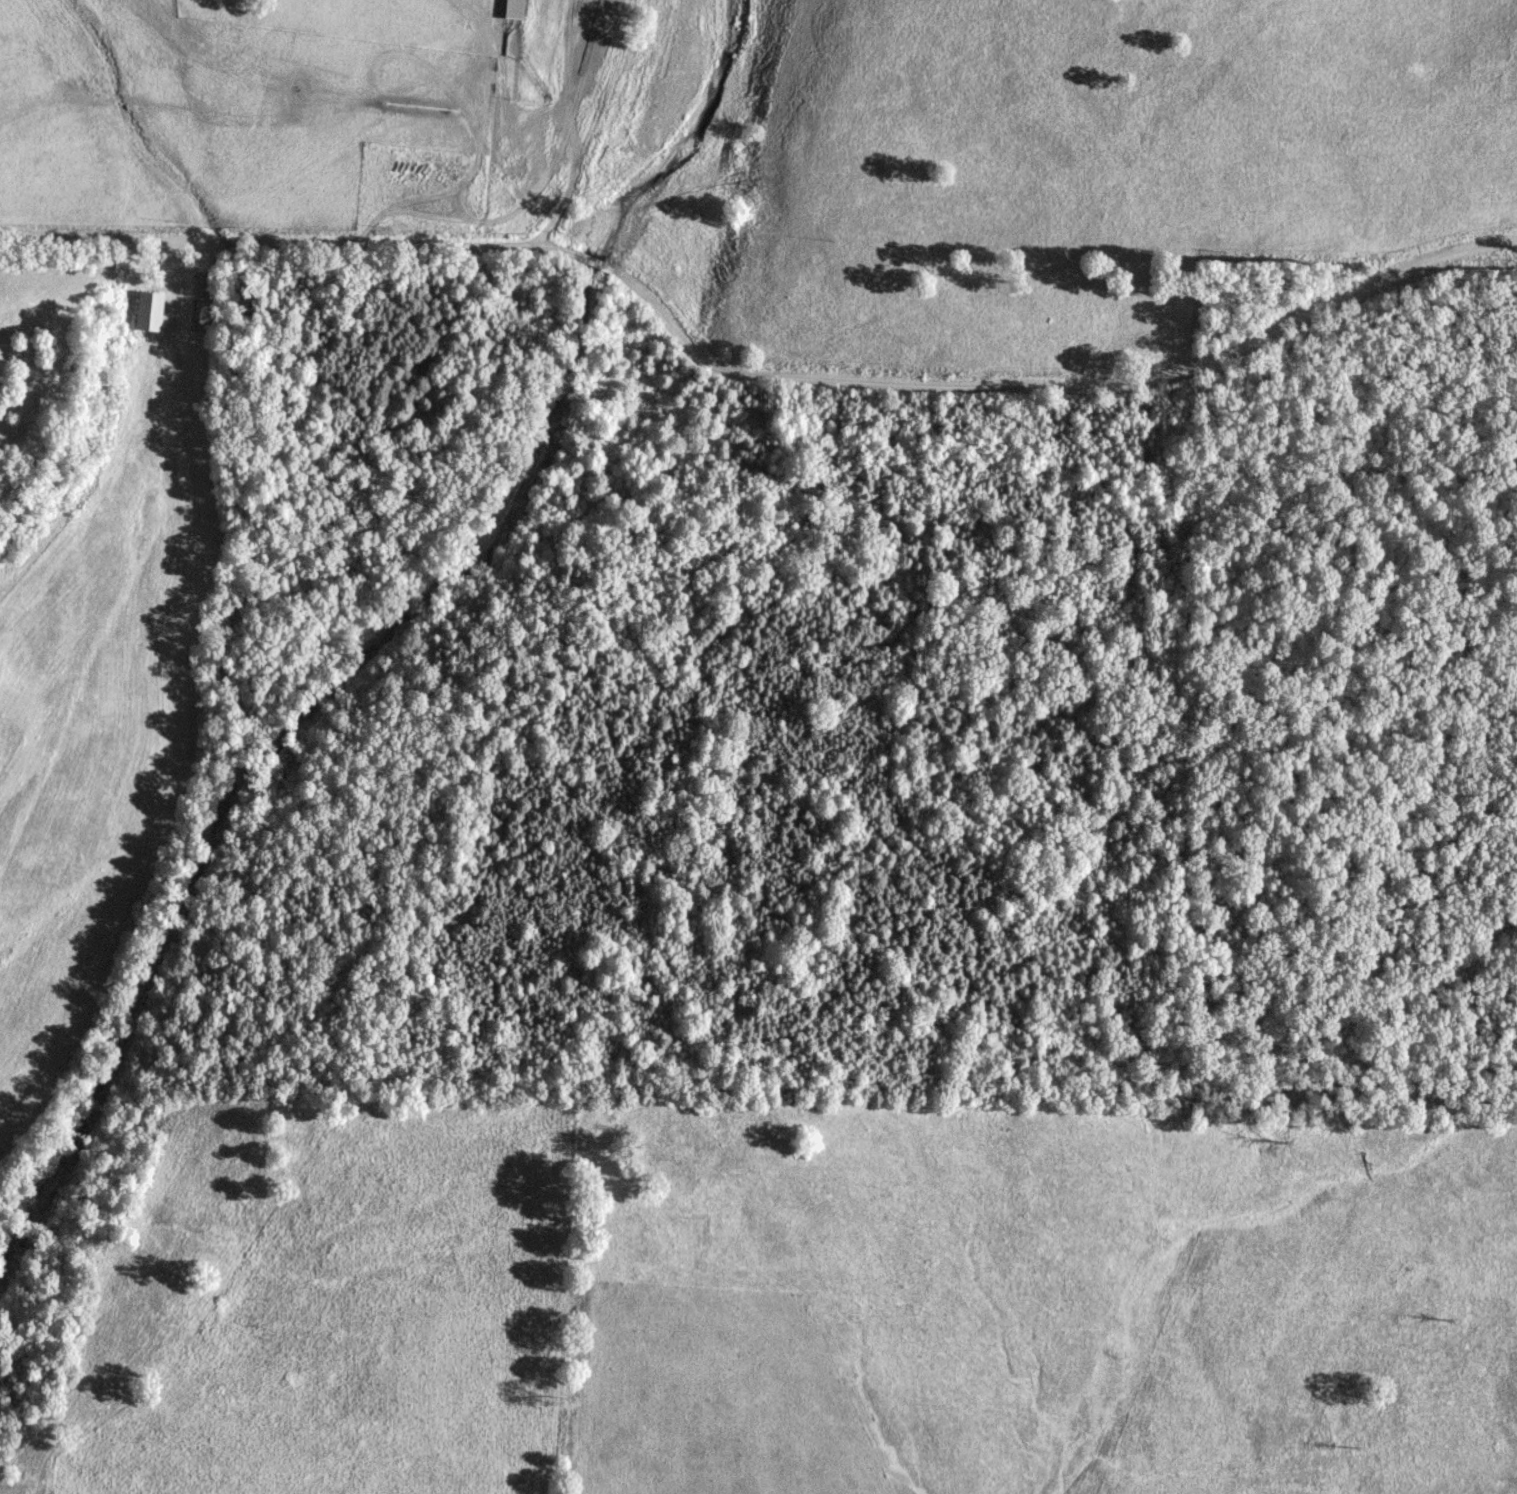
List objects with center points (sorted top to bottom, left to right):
building: (516, 9)
road: (631, 126)
building: (151, 311)
road: (747, 368)

